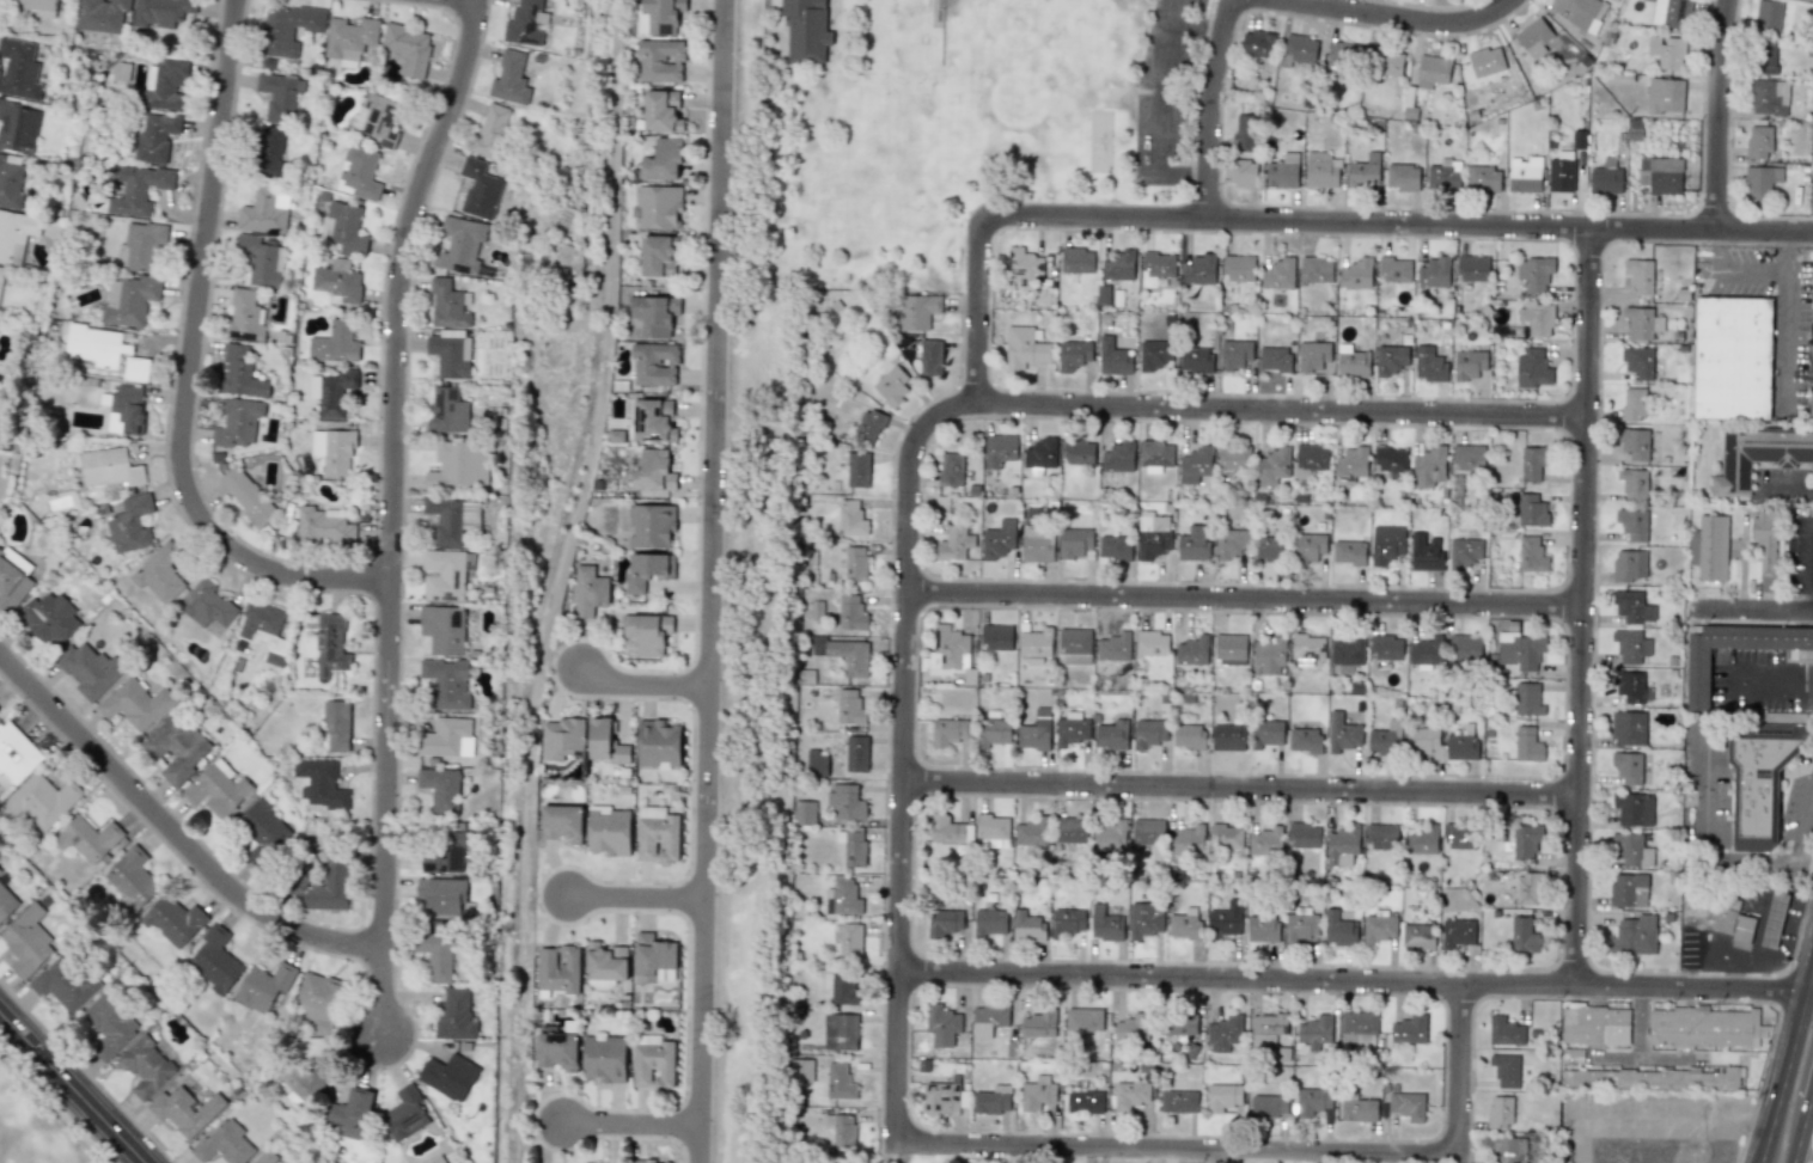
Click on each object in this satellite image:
building: (36, 4)
building: (160, 12)
building: (1579, 12)
building: (1671, 13)
building: (102, 14)
building: (663, 14)
building: (1769, 14)
road: (1398, 17)
building: (525, 23)
building: (287, 27)
building: (806, 29)
building: (1533, 37)
building: (349, 39)
building: (1257, 43)
building: (408, 47)
building: (1298, 50)
building: (1666, 51)
building: (1765, 57)
building: (1341, 60)
building: (660, 61)
building: (1485, 61)
building: (1386, 63)
building: (19, 68)
building: (1432, 71)
building: (509, 79)
building: (163, 85)
road: (1161, 86)
parking lot: (1165, 94)
building: (279, 96)
building: (1665, 96)
building: (1769, 97)
road: (1208, 109)
building: (663, 111)
road: (1719, 114)
building: (377, 120)
building: (18, 127)
park: (934, 128)
building: (1243, 130)
building: (490, 131)
building: (157, 136)
building: (1758, 142)
building: (268, 151)
building: (663, 159)
building: (1321, 170)
building: (1240, 171)
building: (1282, 171)
building: (1363, 171)
building: (360, 172)
building: (1561, 172)
building: (1524, 173)
road: (1183, 175)
building: (1660, 175)
building: (1443, 176)
building: (1403, 177)
building: (1605, 177)
building: (1483, 179)
building: (1760, 179)
building: (10, 182)
building: (138, 189)
building: (478, 189)
road: (1577, 190)
building: (657, 207)
building: (262, 212)
road: (1398, 225)
building: (344, 227)
building: (16, 234)
building: (141, 245)
building: (459, 245)
building: (657, 256)
building: (261, 259)
building: (1076, 259)
building: (1118, 265)
building: (1025, 267)
building: (1156, 267)
building: (1238, 268)
building: (1472, 268)
road: (1734, 268)
building: (1199, 269)
building: (1316, 270)
building: (1394, 270)
building: (1434, 273)
building: (1534, 273)
building: (1278, 274)
building: (1356, 274)
building: (1, 275)
building: (1638, 275)
building: (337, 281)
building: (129, 299)
building: (447, 305)
building: (917, 311)
road: (982, 311)
building: (657, 314)
road: (1787, 316)
building: (244, 317)
building: (1537, 318)
building: (1641, 323)
building: (334, 343)
building: (1024, 348)
building: (105, 350)
building: (450, 353)
building: (1155, 354)
building: (1234, 354)
building: (1073, 355)
building: (1312, 356)
building: (930, 357)
building: (1112, 357)
building: (1733, 357)
building: (1274, 359)
building: (1195, 360)
building: (1390, 360)
building: (1351, 362)
building: (1637, 362)
building: (654, 363)
building: (1428, 363)
building: (1469, 363)
road: (190, 365)
building: (1532, 368)
building: (239, 373)
building: (892, 386)
building: (330, 392)
building: (1632, 403)
building: (1811, 406)
building: (126, 409)
building: (447, 410)
road: (1284, 410)
building: (655, 420)
building: (238, 422)
building: (868, 427)
building: (615, 435)
building: (1634, 445)
building: (999, 449)
building: (332, 451)
building: (1078, 452)
building: (1039, 454)
building: (1155, 455)
building: (1758, 455)
building: (1118, 457)
building: (1233, 460)
building: (1310, 461)
building: (1392, 461)
building: (459, 464)
building: (1350, 464)
building: (1532, 464)
building: (1195, 465)
building: (1272, 465)
building: (109, 467)
building: (1429, 467)
building: (950, 469)
building: (857, 470)
building: (653, 471)
building: (1634, 484)
road: (1789, 486)
building: (246, 496)
road: (393, 510)
building: (1531, 510)
building: (452, 518)
building: (850, 518)
building: (1632, 524)
building: (130, 525)
building: (651, 525)
building: (322, 526)
building: (1152, 534)
building: (999, 539)
building: (1764, 539)
building: (1074, 541)
building: (954, 543)
building: (1229, 543)
building: (1386, 543)
building: (1037, 544)
building: (1194, 544)
building: (1115, 546)
building: (1308, 547)
building: (1709, 547)
building: (1269, 549)
building: (1348, 552)
building: (1424, 552)
building: (1464, 552)
building: (1531, 555)
building: (855, 563)
building: (1629, 564)
building: (647, 570)
building: (159, 573)
building: (444, 575)
building: (12, 579)
railway: (545, 580)
road: (557, 580)
road: (708, 581)
building: (588, 590)
road: (1247, 599)
building: (206, 604)
road: (1585, 606)
building: (1632, 607)
road: (1750, 608)
building: (851, 613)
building: (49, 618)
building: (263, 629)
building: (442, 629)
building: (649, 632)
building: (996, 637)
building: (1152, 643)
building: (1036, 644)
building: (330, 645)
building: (1074, 645)
building: (1630, 645)
building: (1113, 647)
building: (1385, 647)
building: (1464, 647)
building: (1229, 649)
building: (1307, 649)
building: (1520, 649)
building: (1191, 650)
building: (1348, 651)
building: (1426, 651)
building: (844, 654)
building: (1269, 656)
building: (88, 669)
road: (1758, 673)
road: (1805, 674)
building: (807, 675)
building: (1697, 678)
building: (447, 683)
road: (639, 684)
building: (1629, 686)
building: (1527, 699)
building: (135, 703)
building: (849, 706)
building: (335, 726)
building: (1628, 728)
building: (948, 732)
building: (994, 732)
building: (1034, 732)
building: (1070, 732)
building: (1148, 733)
building: (1265, 733)
building: (1342, 733)
building: (1111, 735)
building: (1188, 736)
building: (1227, 736)
building: (446, 737)
building: (561, 737)
building: (1385, 737)
building: (1423, 739)
building: (1305, 740)
building: (606, 741)
building: (658, 743)
building: (1527, 745)
building: (176, 747)
building: (1461, 747)
road: (905, 752)
building: (856, 753)
building: (16, 754)
building: (816, 764)
building: (1628, 767)
building: (321, 783)
road: (1244, 786)
building: (440, 788)
building: (1758, 788)
building: (218, 789)
building: (43, 801)
building: (846, 801)
building: (1632, 809)
building: (804, 812)
building: (562, 822)
road: (1803, 822)
building: (263, 826)
building: (948, 830)
building: (1072, 830)
building: (609, 831)
building: (993, 831)
road: (1710, 831)
road: (173, 832)
building: (1031, 832)
building: (1147, 833)
building: (657, 834)
building: (1304, 834)
building: (1110, 835)
building: (1460, 835)
building: (1226, 837)
building: (1382, 837)
building: (87, 838)
building: (1186, 840)
building: (1265, 841)
building: (1420, 841)
building: (1525, 841)
building: (1342, 846)
building: (851, 847)
building: (1631, 850)
building: (446, 853)
road: (1803, 856)
building: (0, 871)
building: (130, 877)
building: (324, 887)
building: (1527, 888)
building: (1628, 890)
building: (441, 895)
road: (633, 898)
building: (842, 898)
building: (6, 902)
building: (1144, 919)
building: (1774, 919)
building: (173, 920)
building: (1068, 920)
building: (944, 922)
building: (989, 922)
building: (1223, 922)
building: (1105, 924)
building: (1184, 924)
building: (1302, 924)
building: (1734, 924)
building: (1027, 926)
building: (1262, 928)
building: (1378, 928)
building: (1338, 929)
building: (1457, 932)
building: (1522, 935)
building: (1634, 935)
building: (1417, 936)
building: (28, 941)
building: (850, 941)
building: (435, 955)
building: (654, 959)
building: (214, 960)
building: (605, 961)
building: (557, 968)
road: (1356, 980)
building: (63, 984)
building: (263, 986)
building: (844, 990)
building: (318, 997)
building: (454, 1015)
building: (1083, 1018)
building: (988, 1020)
building: (1039, 1023)
building: (1178, 1023)
building: (941, 1024)
building: (109, 1026)
building: (1595, 1026)
building: (1359, 1027)
building: (1702, 1027)
building: (1133, 1028)
building: (1266, 1028)
building: (1409, 1029)
building: (840, 1032)
building: (1314, 1032)
building: (1507, 1032)
building: (1225, 1034)
road: (1638, 1042)
building: (556, 1049)
road: (1667, 1054)
building: (1571, 1055)
building: (604, 1058)
building: (652, 1061)
road: (1787, 1064)
building: (147, 1065)
road: (1461, 1069)
building: (802, 1070)
building: (1506, 1071)
building: (448, 1076)
building: (1652, 1078)
building: (303, 1079)
building: (840, 1082)
road: (73, 1087)
building: (1037, 1092)
building: (1129, 1094)
building: (1222, 1096)
building: (941, 1097)
building: (993, 1100)
building: (1178, 1101)
building: (1312, 1101)
building: (1085, 1102)
building: (1408, 1104)
building: (1269, 1106)
building: (1359, 1109)
building: (184, 1110)
building: (1500, 1110)
building: (349, 1113)
building: (404, 1114)
road: (1802, 1120)
road: (629, 1125)
park: (30, 1127)
building: (841, 1132)
building: (224, 1143)
building: (1502, 1149)
road: (1178, 1150)
building: (265, 1157)
building: (641, 1161)

